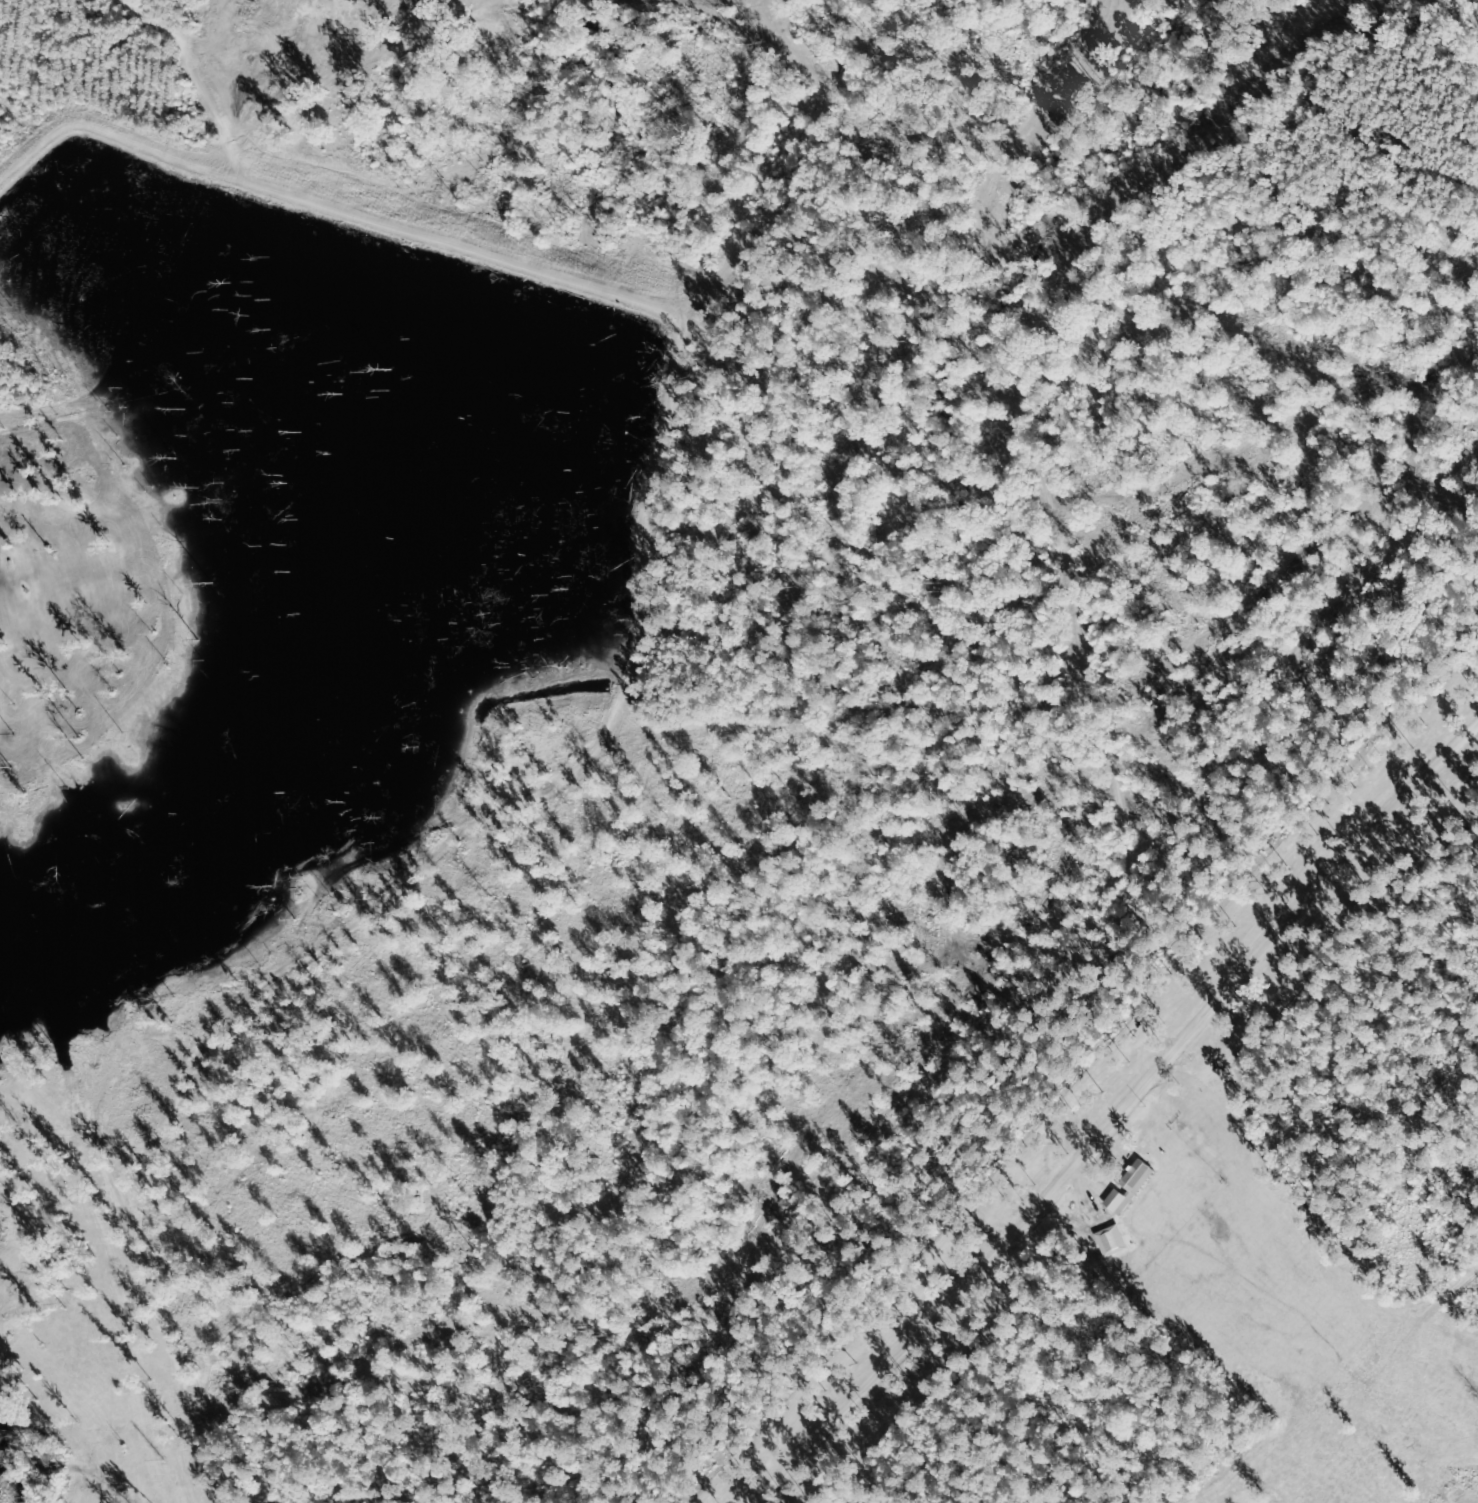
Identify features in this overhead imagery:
road: (1112, 1108)
building: (1130, 1188)

